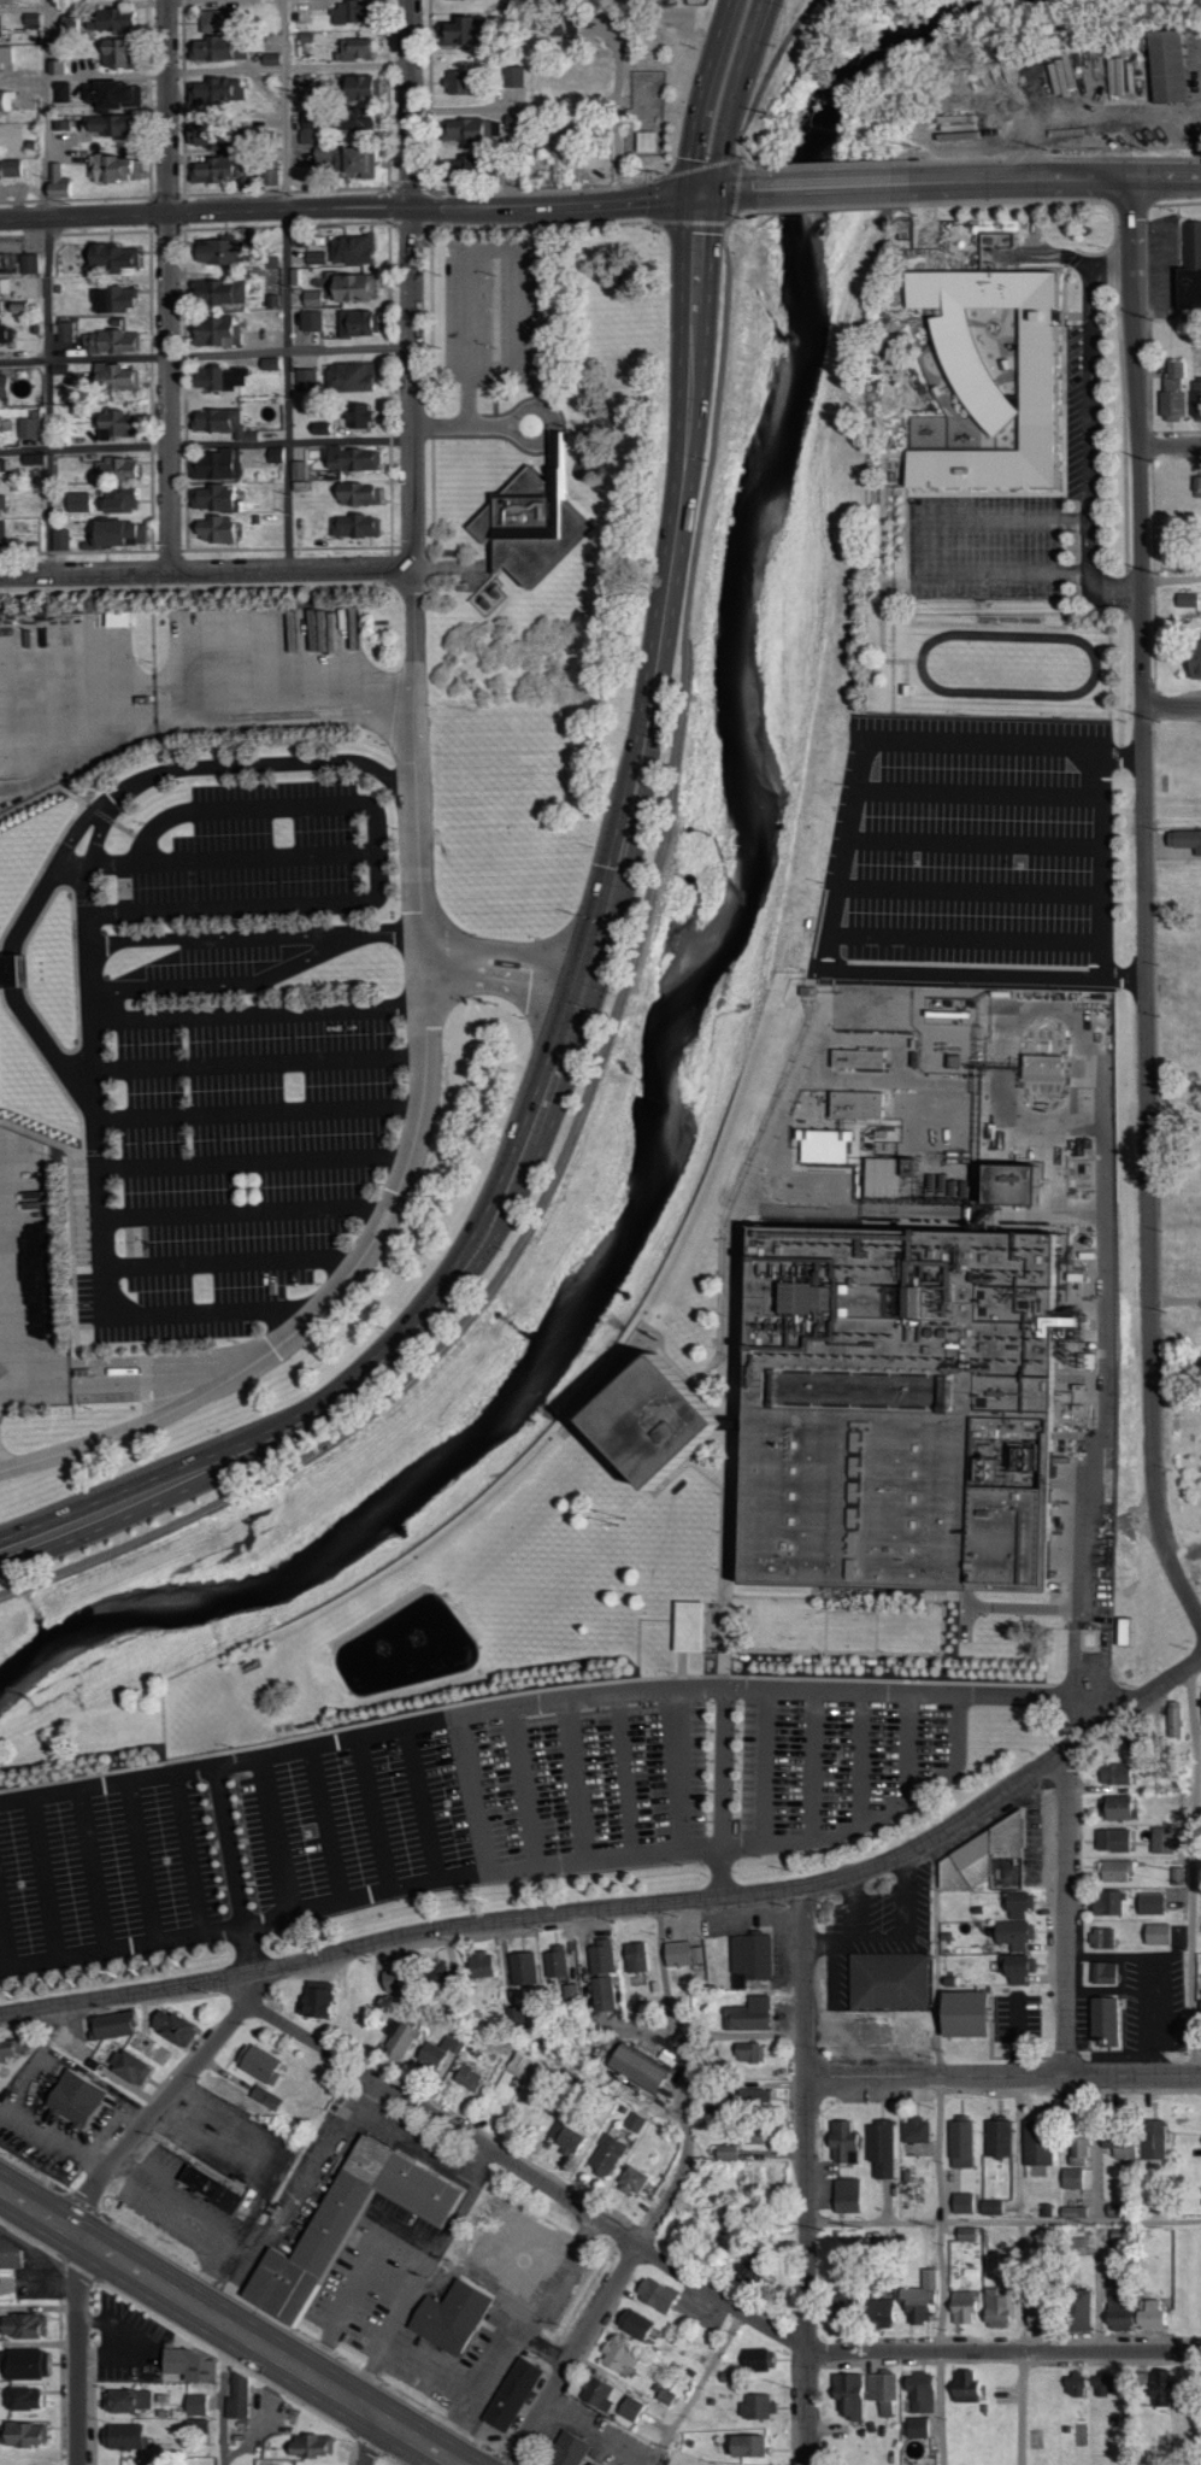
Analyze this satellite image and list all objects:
building: (1, 0)
road: (84, 5)
building: (358, 12)
building: (119, 19)
building: (224, 20)
building: (76, 23)
building: (4, 25)
building: (477, 33)
building: (224, 48)
building: (363, 48)
road: (761, 51)
building: (128, 53)
building: (7, 55)
building: (64, 66)
road: (775, 66)
building: (1168, 69)
road: (205, 70)
building: (1112, 75)
building: (467, 82)
building: (369, 88)
building: (224, 90)
building: (119, 94)
building: (312, 95)
road: (701, 99)
road: (729, 99)
building: (8, 101)
road: (563, 104)
building: (119, 124)
building: (320, 124)
building: (376, 124)
building: (478, 130)
building: (224, 136)
building: (650, 141)
building: (482, 157)
building: (371, 162)
building: (117, 168)
building: (14, 171)
road: (1055, 178)
road: (835, 187)
road: (729, 194)
traffic signals: (700, 199)
road: (555, 207)
road: (205, 213)
building: (996, 240)
building: (234, 250)
building: (360, 250)
road: (494, 253)
road: (1043, 253)
building: (122, 257)
building: (324, 258)
building: (6, 262)
building: (34, 264)
road: (1114, 265)
building: (1188, 268)
road: (285, 284)
road: (412, 284)
road: (47, 286)
road: (169, 286)
building: (7, 287)
building: (358, 287)
building: (231, 293)
building: (318, 298)
building: (122, 299)
building: (2, 309)
parking lot: (495, 310)
road: (1170, 312)
building: (316, 321)
building: (366, 323)
building: (70, 331)
building: (8, 333)
building: (225, 333)
road: (205, 352)
building: (277, 363)
building: (123, 376)
building: (359, 376)
building: (228, 378)
building: (312, 380)
building: (976, 381)
building: (7, 387)
building: (1171, 389)
road: (1091, 394)
building: (1195, 400)
building: (365, 415)
road: (517, 416)
building: (226, 422)
building: (123, 424)
building: (34, 428)
building: (5, 432)
road: (206, 442)
road: (1171, 445)
building: (357, 458)
building: (125, 464)
building: (223, 465)
building: (5, 470)
building: (301, 470)
building: (365, 494)
building: (222, 498)
building: (126, 500)
building: (5, 504)
parking lot: (1020, 518)
building: (360, 526)
building: (540, 526)
building: (222, 529)
building: (128, 533)
building: (8, 534)
building: (64, 539)
road: (919, 546)
road: (217, 571)
road: (1171, 577)
road: (1091, 580)
road: (206, 585)
building: (1185, 600)
building: (1191, 661)
track: (1094, 663)
road: (211, 708)
road: (1172, 708)
road: (982, 746)
road: (1124, 750)
road: (417, 773)
road: (978, 788)
road: (241, 808)
road: (89, 814)
road: (975, 837)
building: (1184, 840)
road: (381, 851)
parking lot: (971, 853)
road: (234, 856)
road: (841, 856)
road: (1103, 863)
road: (970, 886)
road: (1147, 903)
road: (232, 905)
road: (255, 934)
road: (967, 935)
road: (90, 944)
road: (507, 952)
road: (310, 955)
road: (985, 974)
river: (691, 978)
road: (176, 985)
road: (502, 986)
building: (811, 990)
traffic signals: (583, 991)
flagpole: (483, 1005)
flagpole: (495, 1005)
road: (257, 1011)
road: (614, 1014)
road: (573, 1016)
parking lot: (243, 1054)
building: (859, 1057)
road: (259, 1062)
building: (1044, 1067)
building: (1, 1096)
building: (858, 1104)
road: (258, 1111)
building: (822, 1144)
road: (255, 1161)
building: (887, 1174)
building: (1012, 1181)
road: (247, 1210)
road: (922, 1213)
road: (1105, 1231)
road: (234, 1261)
road: (1176, 1298)
road: (317, 1305)
road: (112, 1315)
road: (734, 1319)
building: (1089, 1361)
road: (113, 1380)
building: (882, 1411)
road: (1018, 1609)
building: (689, 1626)
road: (555, 1703)
building: (1172, 1722)
road: (909, 1748)
road: (860, 1760)
road: (813, 1766)
road: (765, 1768)
road: (679, 1773)
building: (1113, 1773)
road: (626, 1778)
road: (576, 1783)
road: (526, 1789)
road: (724, 1791)
road: (475, 1798)
road: (424, 1807)
building: (1113, 1809)
parking lot: (464, 1812)
road: (377, 1817)
road: (881, 1817)
road: (331, 1825)
road: (276, 1836)
building: (1111, 1839)
building: (1160, 1839)
road: (189, 1851)
building: (977, 1854)
road: (141, 1861)
road: (93, 1870)
road: (234, 1870)
building: (1113, 1871)
road: (1193, 1871)
road: (43, 1878)
road: (360, 1901)
building: (1108, 1902)
building: (1017, 1903)
building: (1150, 1903)
road: (628, 1907)
road: (1066, 1913)
building: (1012, 1933)
building: (1155, 1933)
building: (1102, 1937)
road: (5, 1938)
building: (681, 1954)
building: (635, 1956)
building: (748, 1959)
building: (555, 1961)
building: (479, 1964)
building: (523, 1967)
building: (1014, 1967)
building: (436, 1970)
building: (1105, 1973)
building: (601, 1974)
building: (393, 1980)
building: (887, 1980)
road: (249, 1988)
building: (324, 2002)
building: (958, 2013)
building: (744, 2014)
building: (1102, 2020)
building: (120, 2025)
building: (179, 2026)
road: (646, 2029)
building: (399, 2042)
building: (12, 2049)
building: (438, 2050)
building: (746, 2052)
building: (265, 2062)
building: (135, 2066)
building: (635, 2068)
road: (1002, 2074)
building: (467, 2078)
building: (78, 2096)
building: (749, 2097)
road: (153, 2112)
building: (635, 2123)
building: (916, 2130)
building: (752, 2134)
building: (563, 2135)
building: (996, 2138)
building: (1153, 2140)
building: (841, 2141)
building: (960, 2144)
building: (1036, 2144)
building: (881, 2148)
building: (1121, 2148)
road: (434, 2150)
building: (725, 2152)
road: (937, 2152)
building: (1077, 2152)
building: (606, 2155)
building: (1196, 2155)
road: (806, 2176)
building: (1072, 2178)
building: (631, 2181)
building: (213, 2188)
building: (844, 2195)
road: (298, 2196)
road: (665, 2201)
building: (961, 2202)
building: (989, 2207)
road: (1003, 2219)
building: (349, 2222)
building: (14, 2253)
building: (742, 2272)
road: (360, 2281)
road: (693, 2281)
road: (414, 2287)
building: (653, 2294)
building: (919, 2296)
road: (258, 2306)
building: (996, 2306)
building: (961, 2307)
building: (1078, 2311)
building: (878, 2312)
building: (453, 2314)
building: (1031, 2314)
building: (632, 2324)
road: (229, 2325)
building: (22, 2326)
road: (1022, 2342)
road: (80, 2352)
building: (616, 2357)
building: (755, 2359)
building: (22, 2364)
building: (187, 2365)
building: (964, 2383)
building: (1072, 2384)
road: (694, 2388)
building: (1154, 2390)
building: (882, 2391)
building: (919, 2391)
building: (514, 2393)
building: (596, 2394)
building: (847, 2394)
road: (224, 2395)
building: (665, 2395)
building: (237, 2396)
building: (22, 2399)
building: (126, 2400)
building: (195, 2405)
building: (755, 2406)
building: (630, 2410)
building: (917, 2426)
building: (23, 2434)
road: (370, 2440)
building: (747, 2443)
building: (308, 2446)
building: (570, 2448)
building: (596, 2463)

